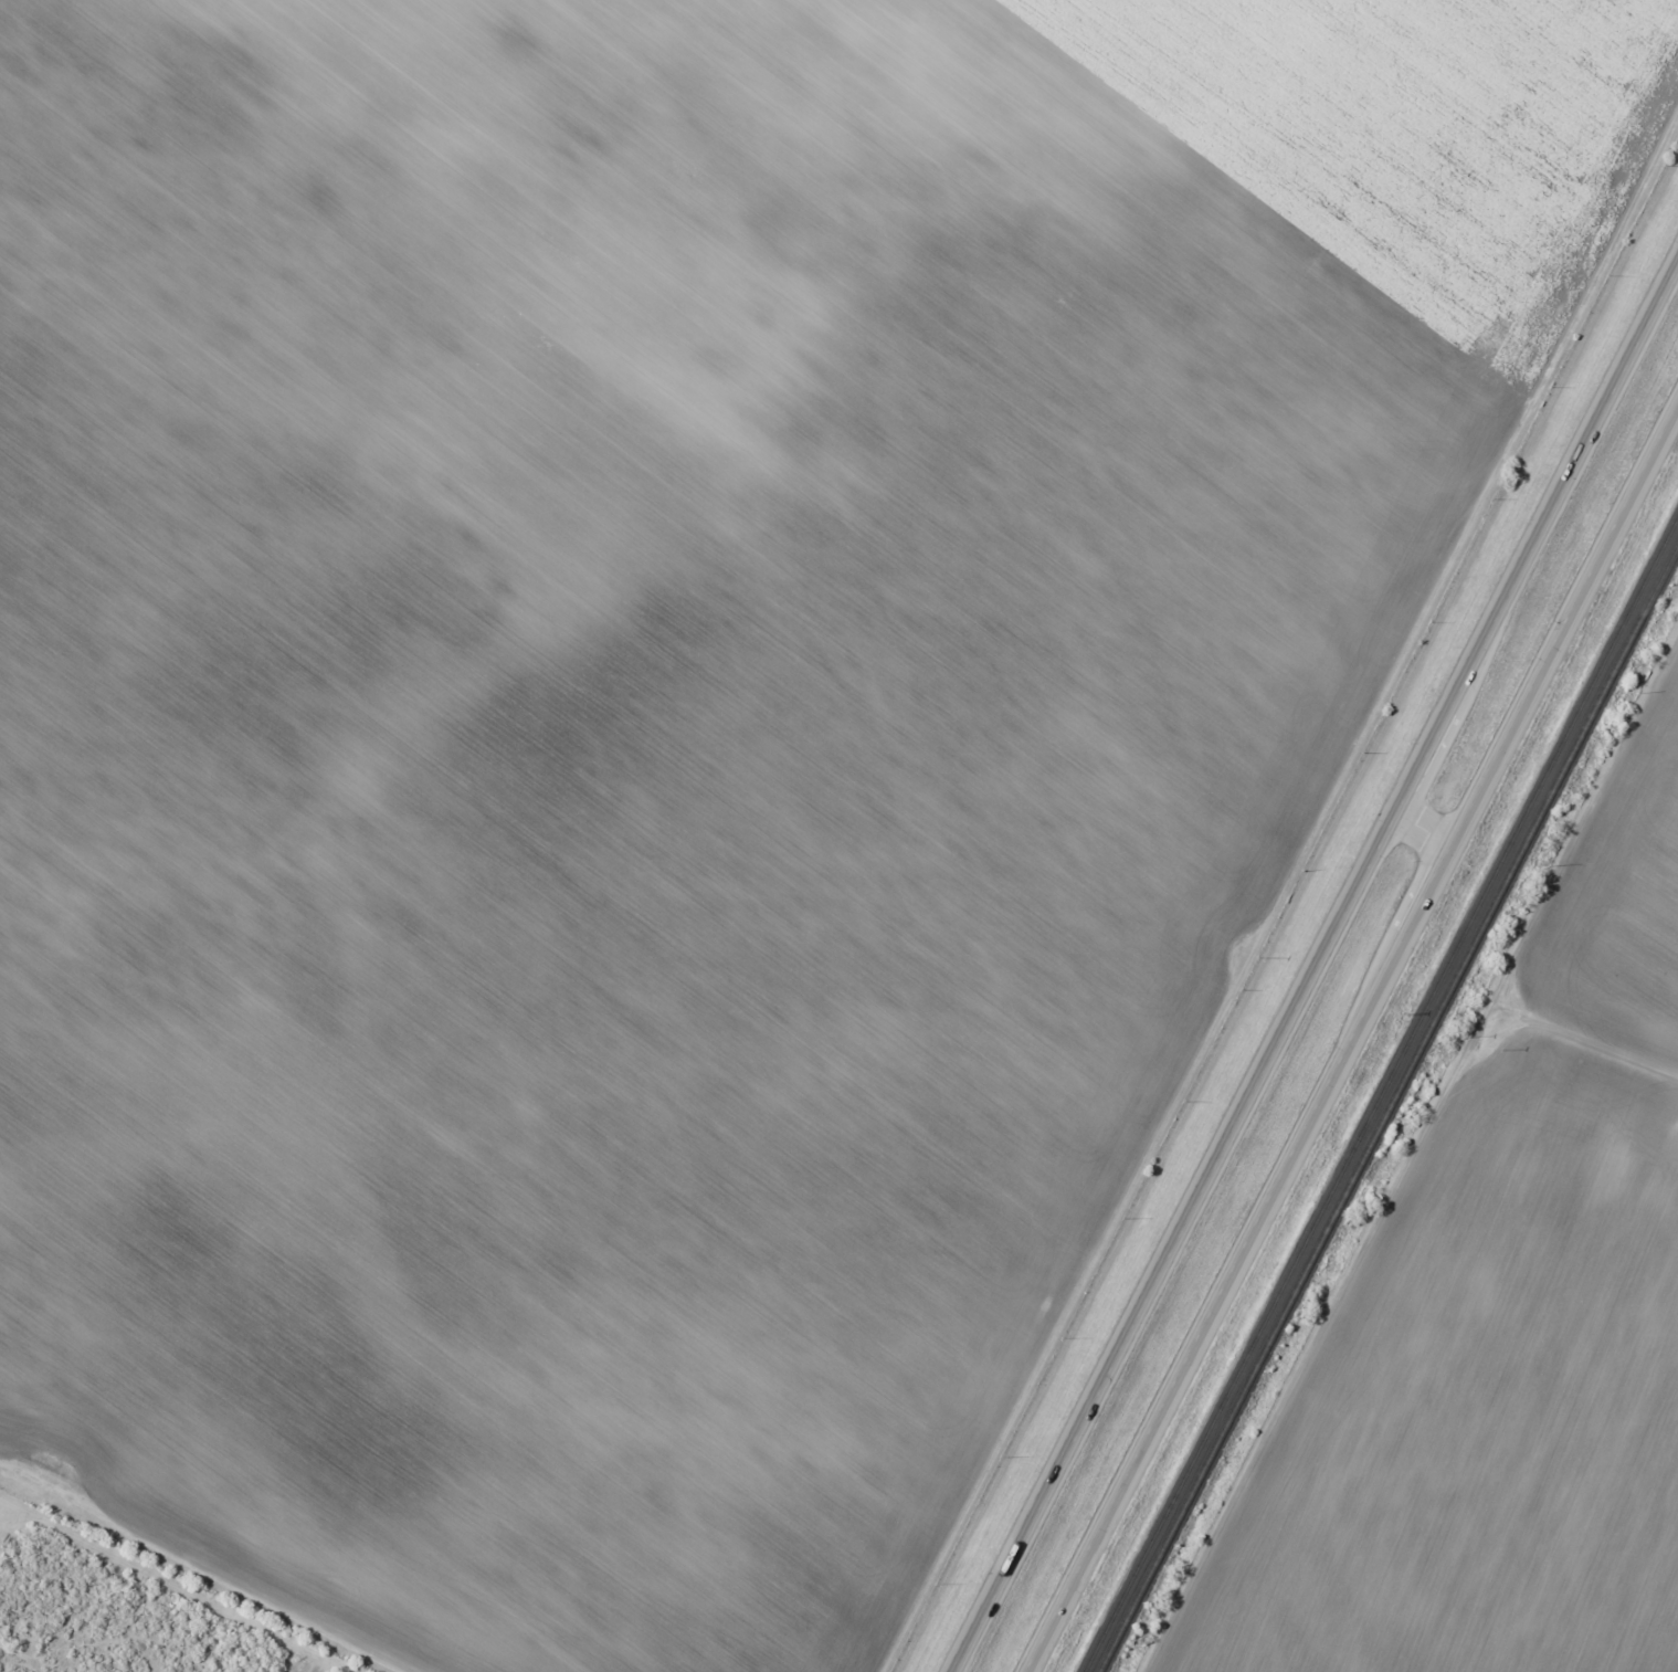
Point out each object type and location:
road: (1433, 828)
road: (1316, 970)
road: (1360, 1053)
railway: (1390, 1116)
road: (193, 1582)

